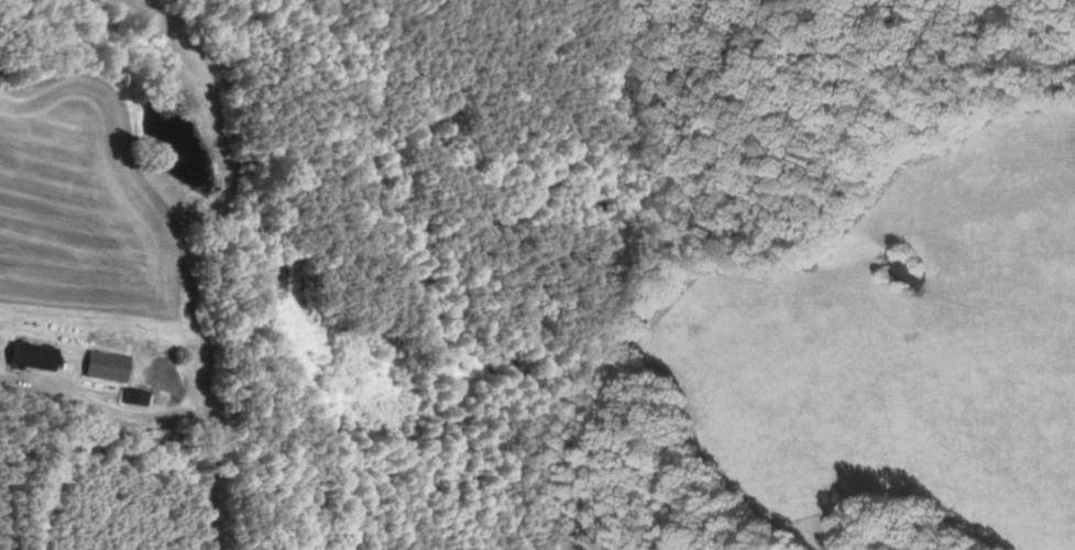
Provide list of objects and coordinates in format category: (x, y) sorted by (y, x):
building: (30, 356)
building: (105, 366)
building: (134, 397)
road: (124, 413)
road: (213, 488)

